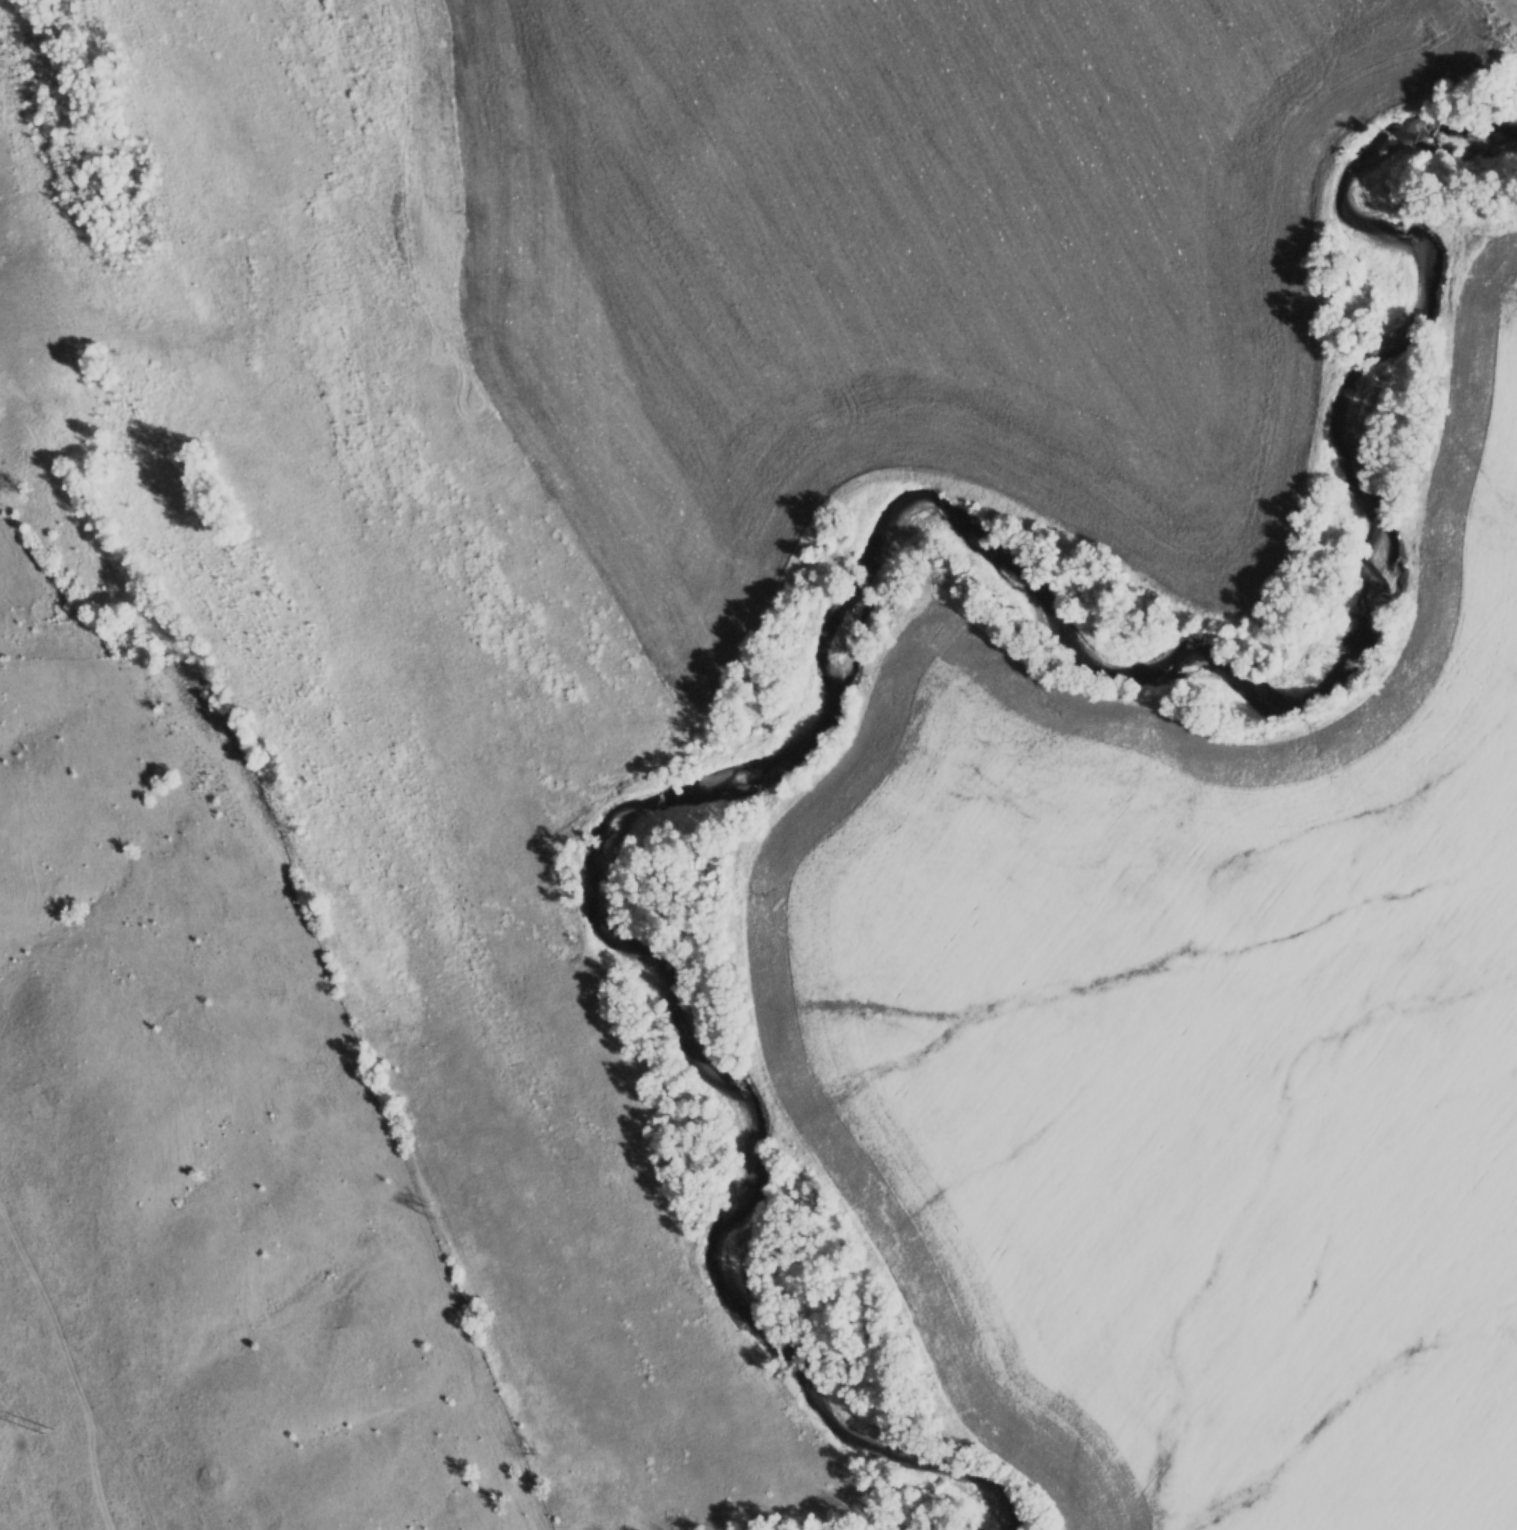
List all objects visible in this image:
river: (877, 586)
crop: (1192, 1045)
power tower: (47, 1431)

